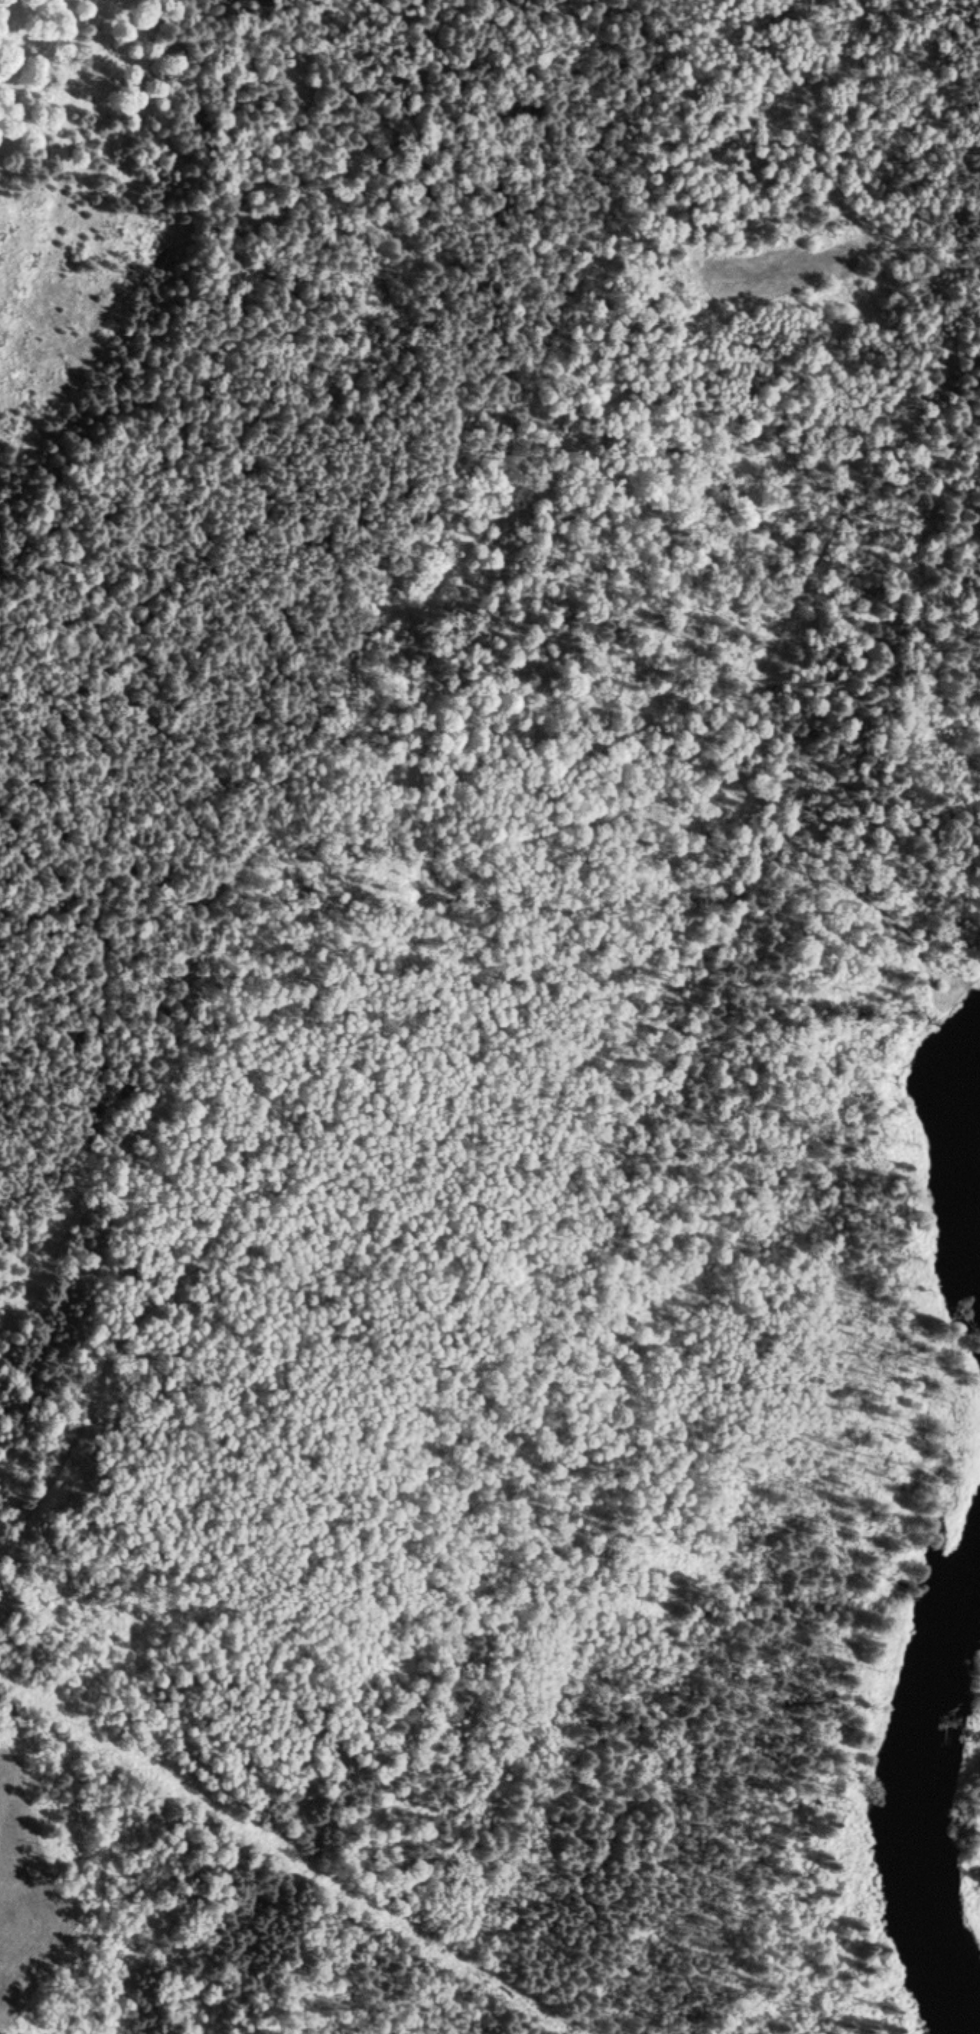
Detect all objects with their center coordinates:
river: (978, 1118)
river: (922, 1789)
road: (286, 1853)
river: (969, 2017)

